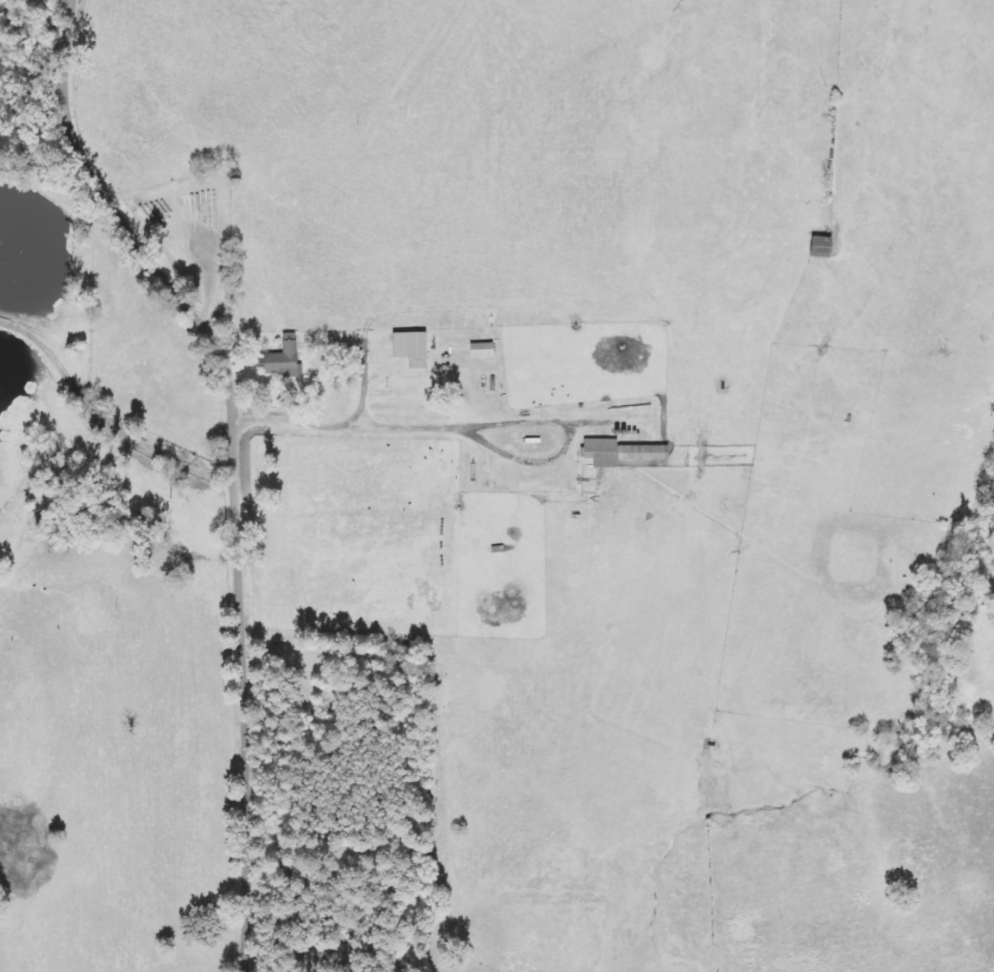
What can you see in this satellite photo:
building: (413, 347)
building: (283, 359)
road: (351, 429)
road: (93, 431)
road: (568, 442)
road: (234, 453)
building: (624, 453)

